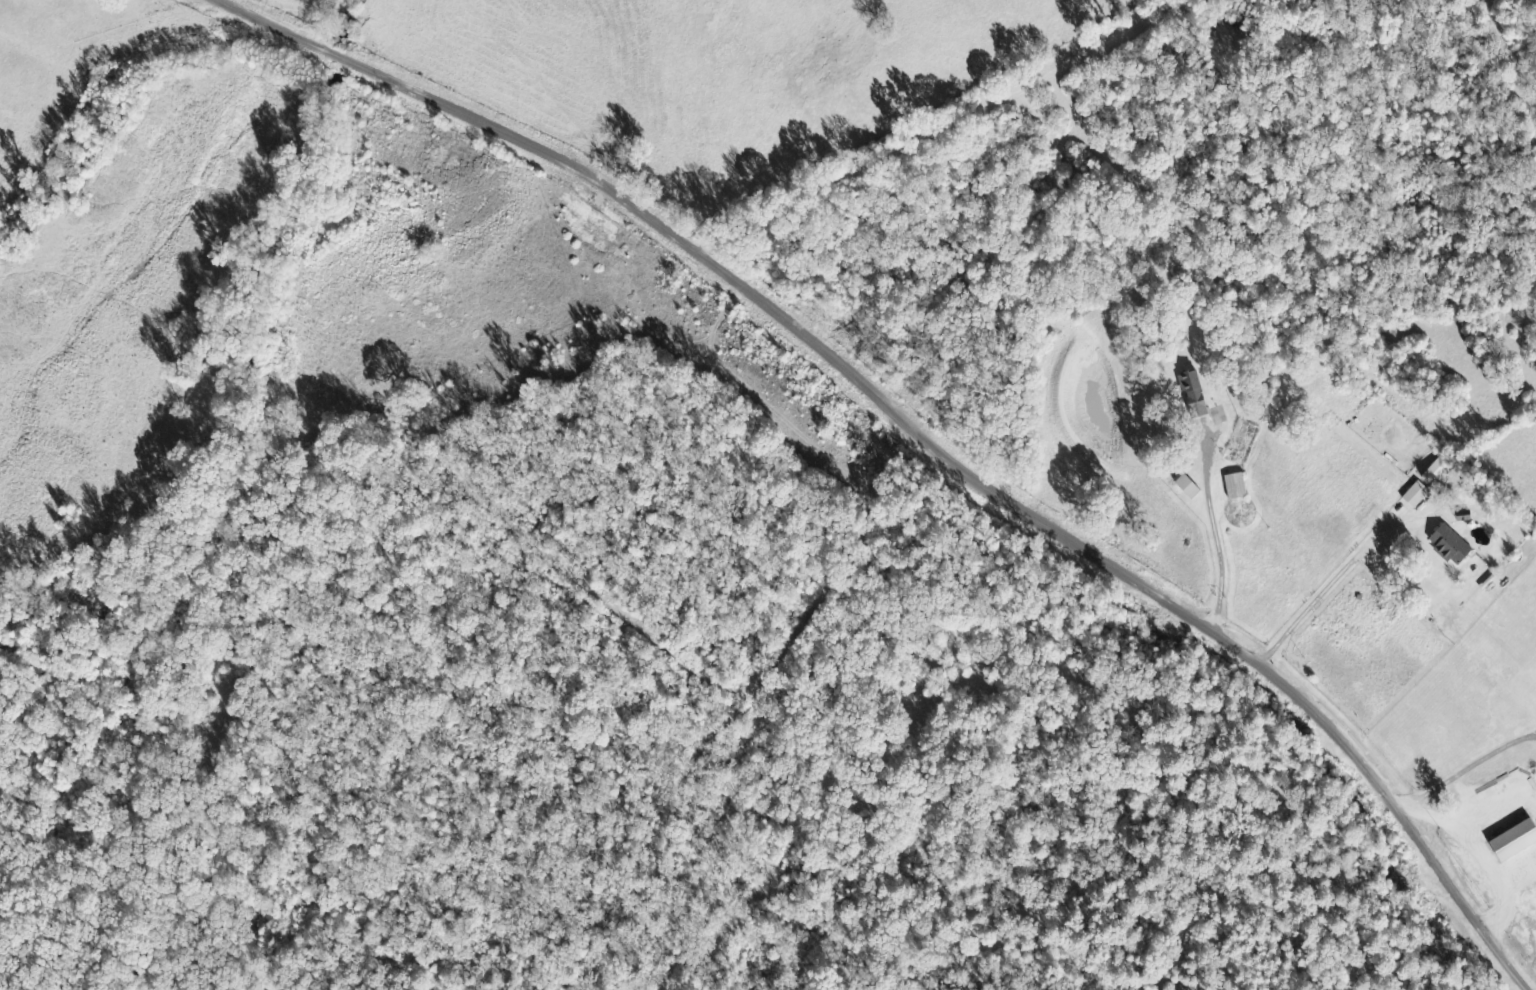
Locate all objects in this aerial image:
road: (200, 3)
road: (511, 332)
road: (642, 346)
building: (1197, 395)
road: (909, 430)
building: (1440, 471)
building: (1238, 486)
building: (1190, 487)
building: (1418, 494)
building: (1453, 546)
building: (1516, 842)

